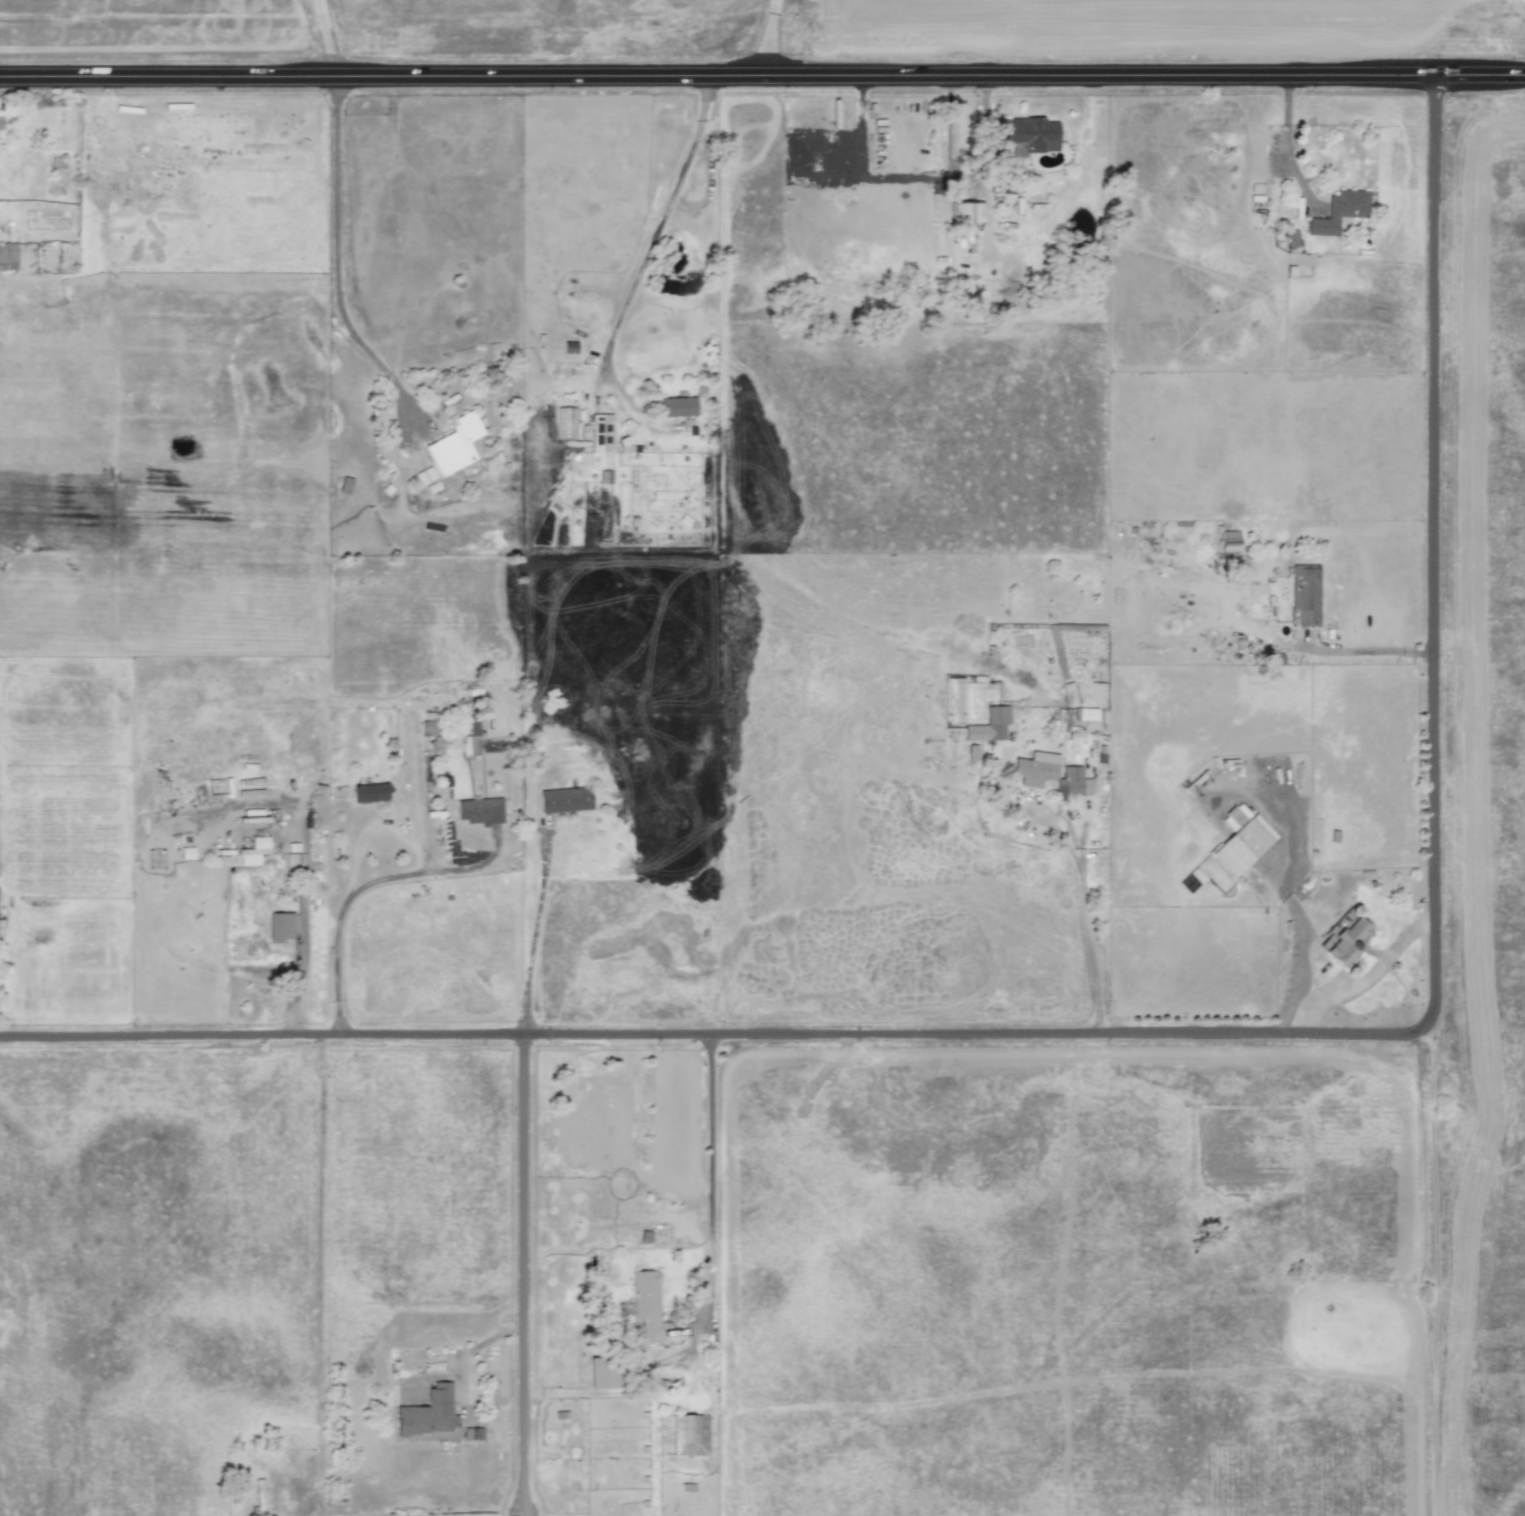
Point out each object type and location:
road: (328, 38)
road: (767, 38)
road: (1479, 75)
road: (717, 77)
building: (1, 122)
building: (1028, 134)
road: (1286, 144)
building: (1339, 211)
building: (966, 212)
road: (658, 223)
building: (8, 255)
road: (337, 262)
building: (569, 347)
building: (677, 406)
building: (565, 423)
building: (598, 432)
building: (454, 445)
building: (604, 476)
building: (345, 485)
building: (1229, 541)
building: (1305, 593)
road: (1353, 652)
building: (1062, 720)
building: (989, 724)
building: (429, 728)
building: (469, 734)
building: (437, 744)
building: (1035, 768)
building: (1071, 782)
building: (369, 792)
building: (564, 799)
building: (479, 810)
building: (1239, 841)
building: (254, 851)
building: (186, 853)
road: (361, 887)
road: (1082, 896)
building: (279, 927)
road: (533, 932)
building: (1344, 941)
road: (1366, 977)
road: (1189, 1035)
road: (709, 1182)
road: (668, 1220)
building: (644, 1236)
road: (523, 1276)
building: (646, 1301)
building: (600, 1373)
building: (427, 1413)
building: (472, 1433)
building: (689, 1435)
road: (521, 1515)
road: (523, 1515)

